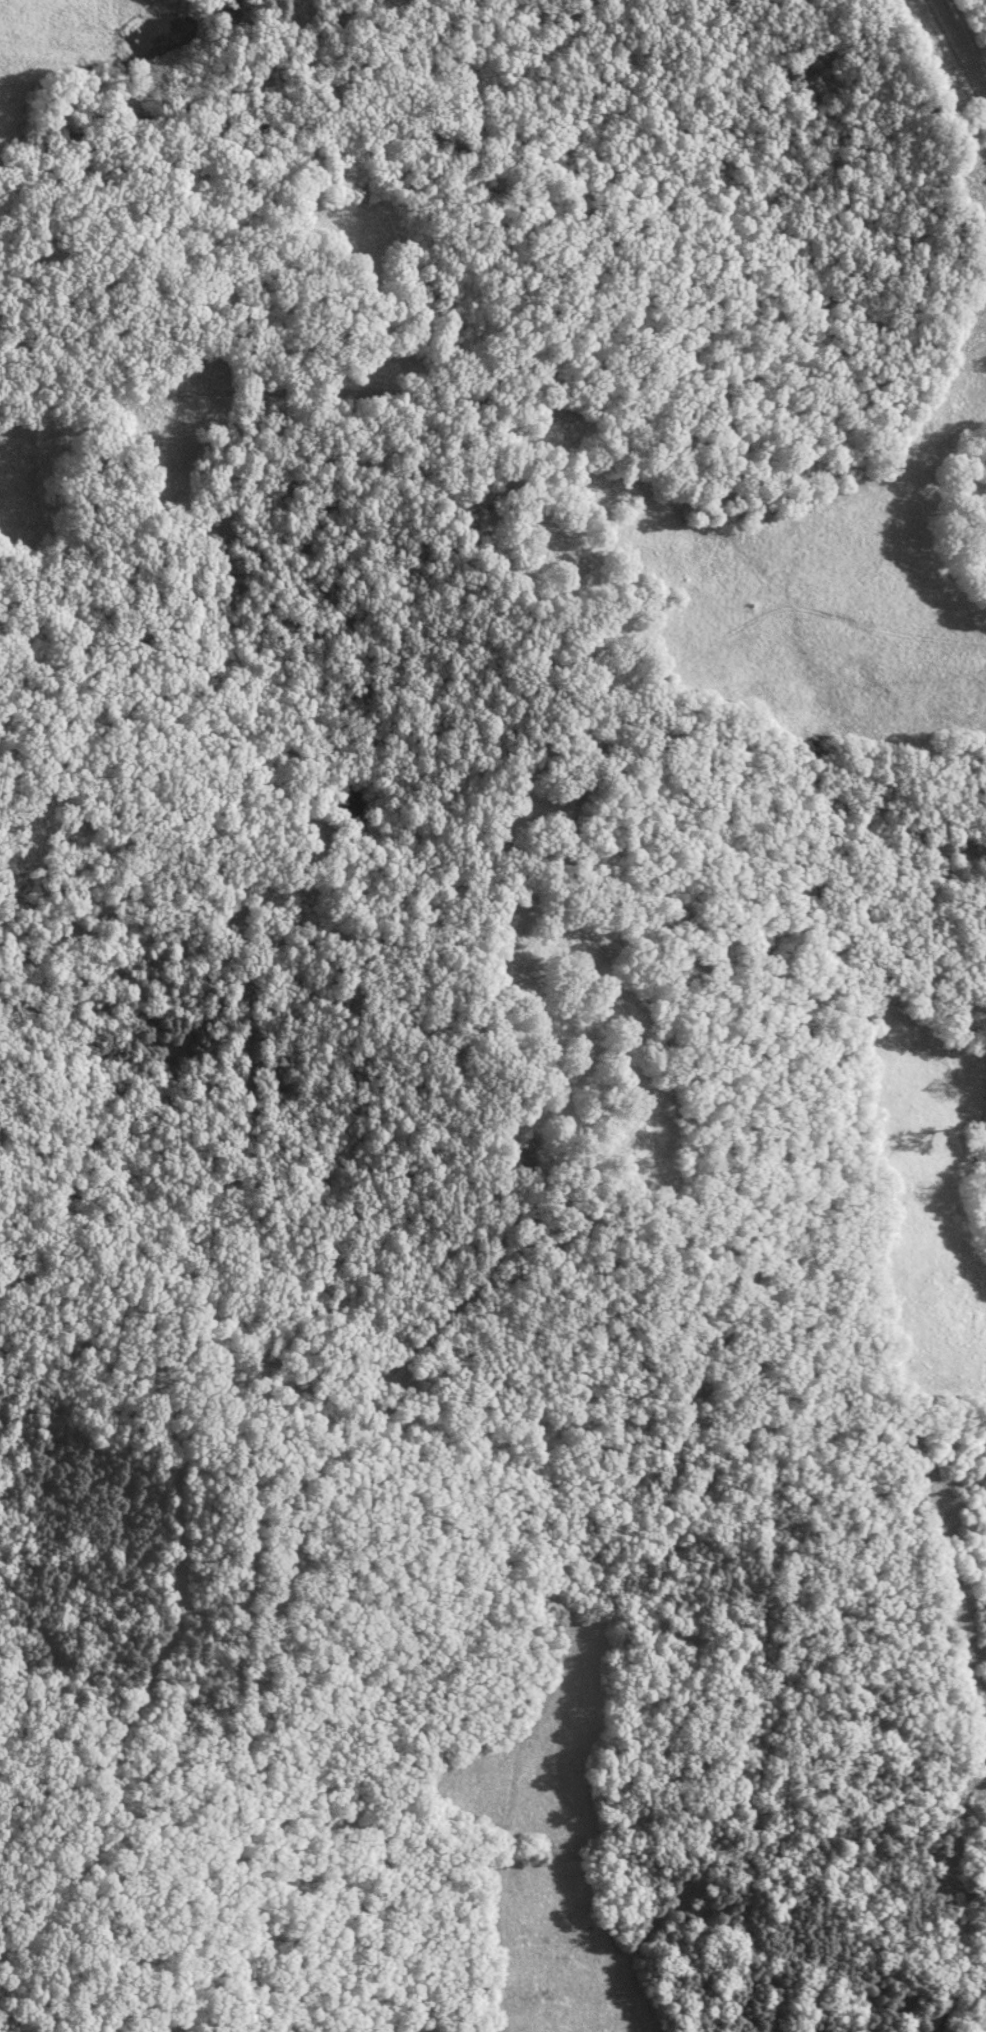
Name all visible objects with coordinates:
road: (962, 53)

